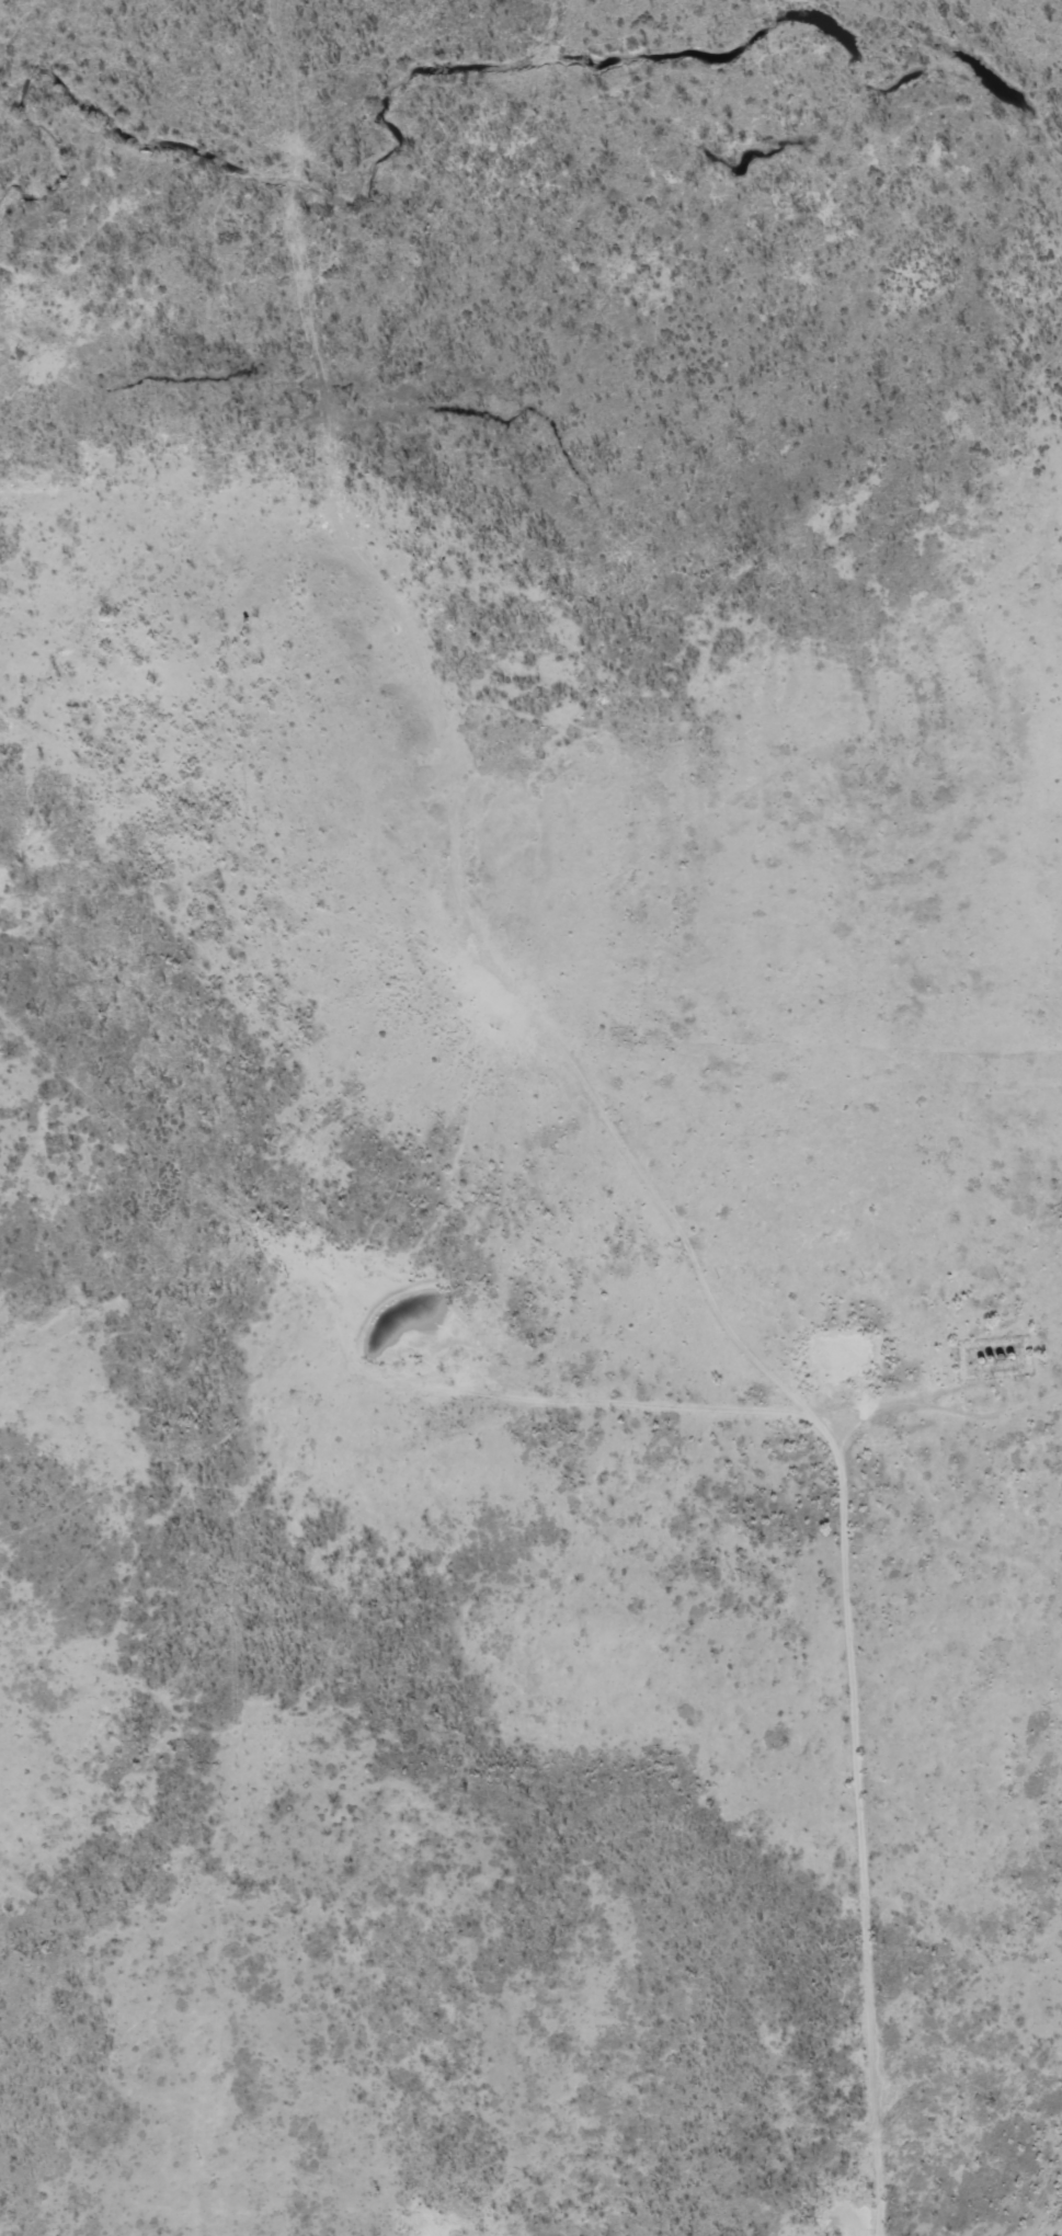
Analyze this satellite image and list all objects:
road: (753, 1316)
road: (956, 1467)

